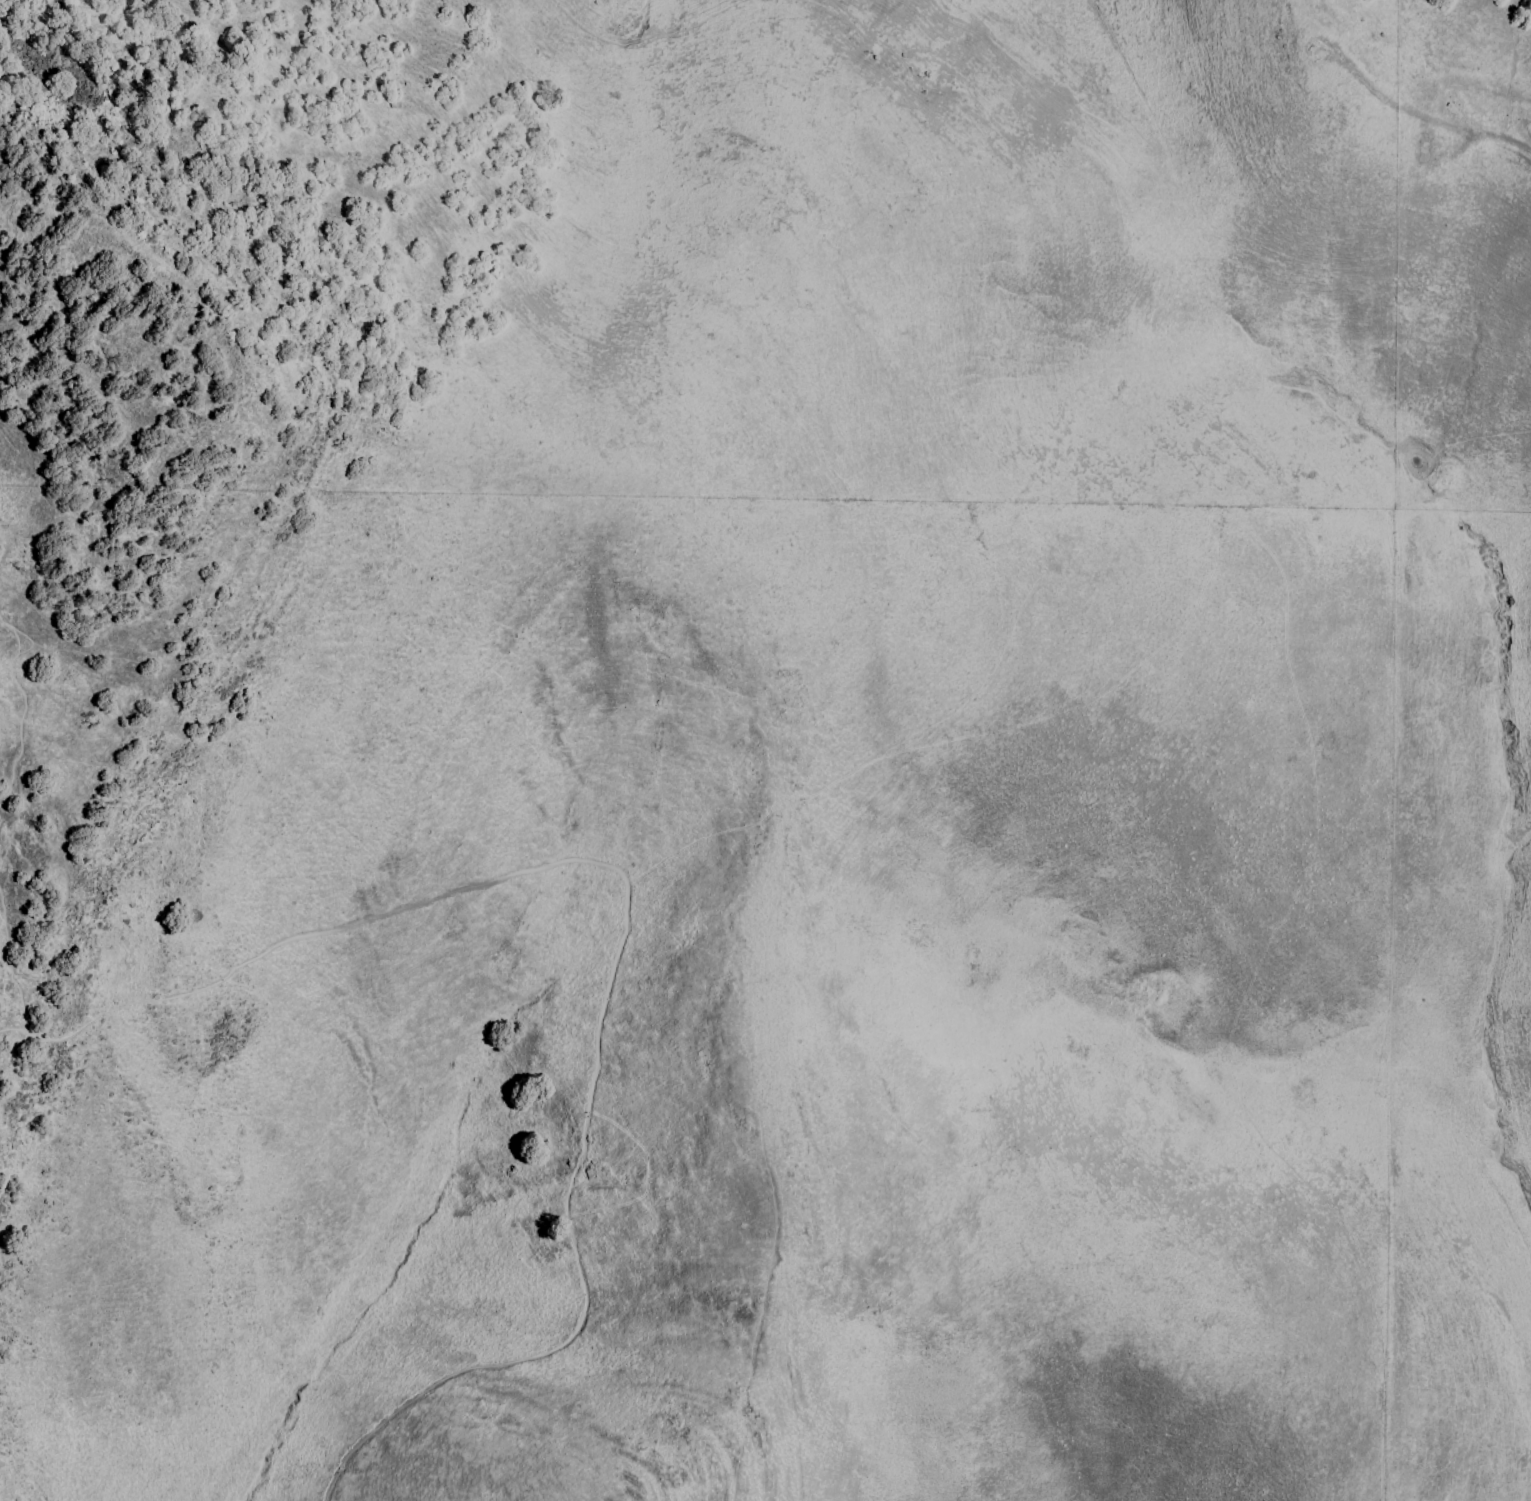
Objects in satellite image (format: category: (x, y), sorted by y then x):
road: (623, 937)

